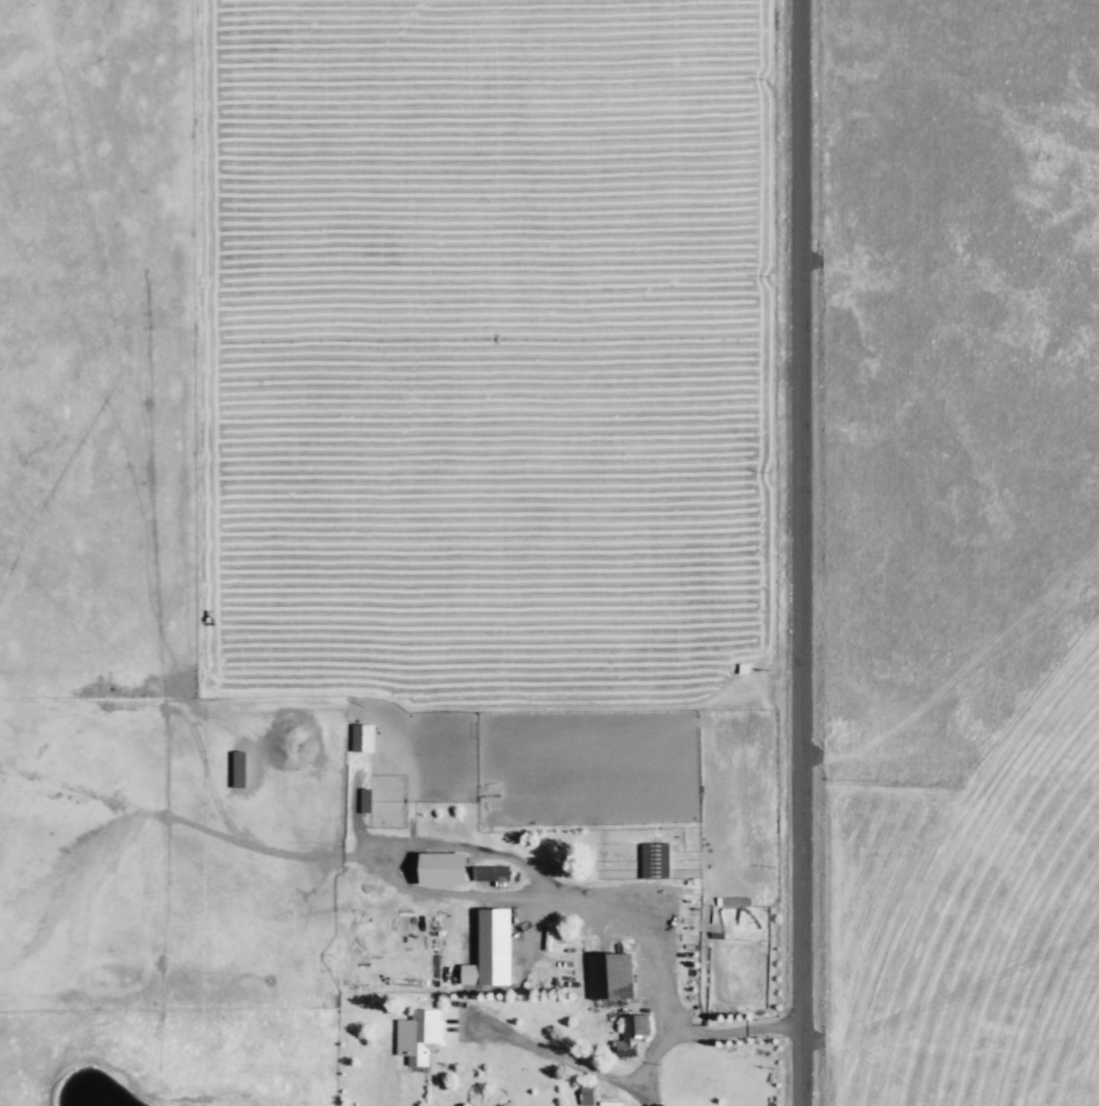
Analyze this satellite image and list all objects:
crop: (508, 515)
road: (801, 553)
building: (361, 737)
building: (237, 768)
building: (363, 799)
building: (653, 860)
building: (440, 867)
crop: (956, 923)
building: (489, 949)
building: (609, 974)
building: (630, 1032)
building: (417, 1035)

